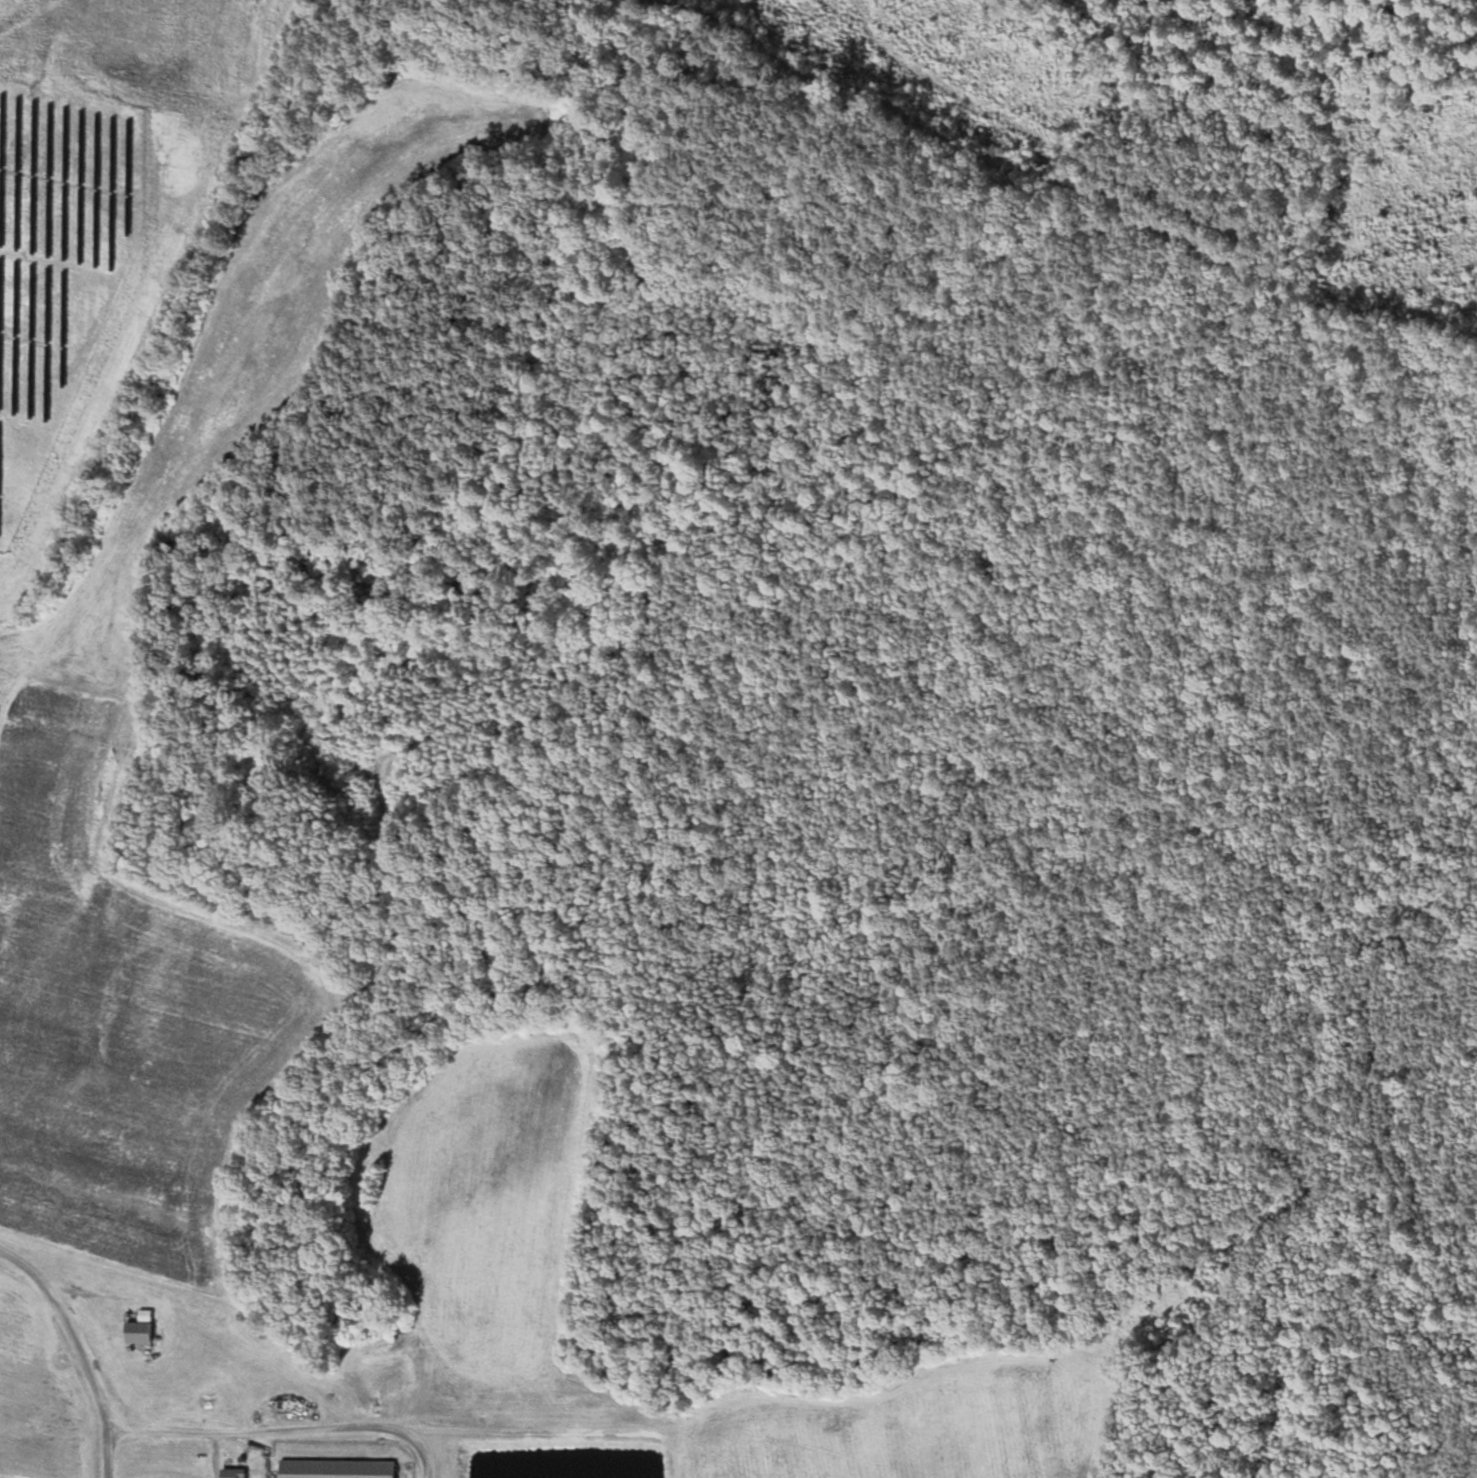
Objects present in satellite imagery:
building: (142, 1328)
road: (78, 1350)
road: (285, 1429)
building: (340, 1469)
building: (234, 1473)

